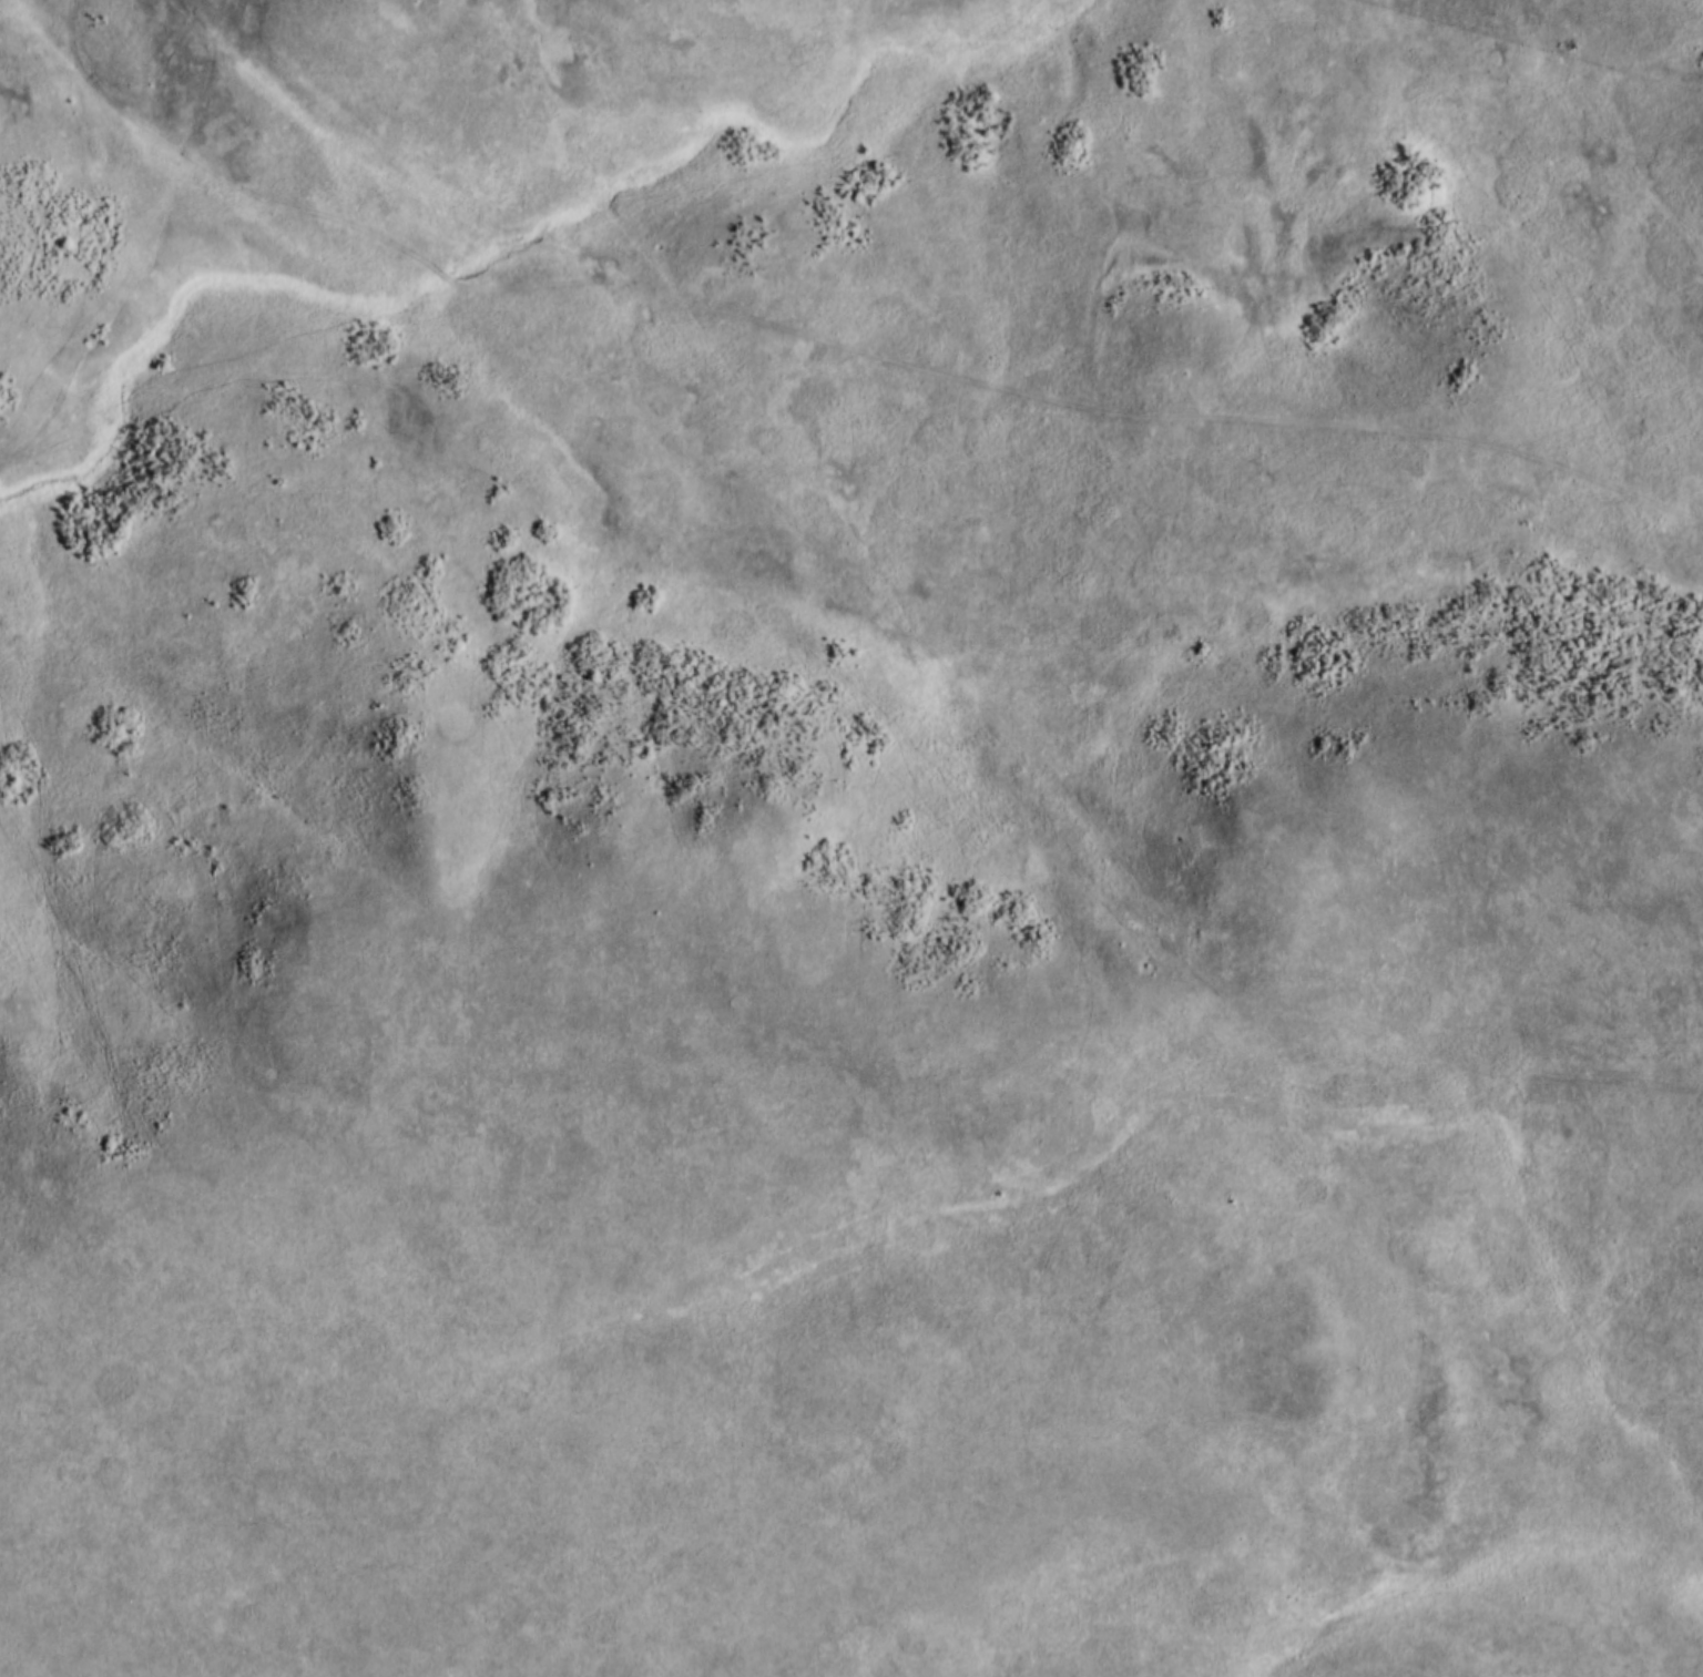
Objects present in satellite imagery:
road: (828, 345)

